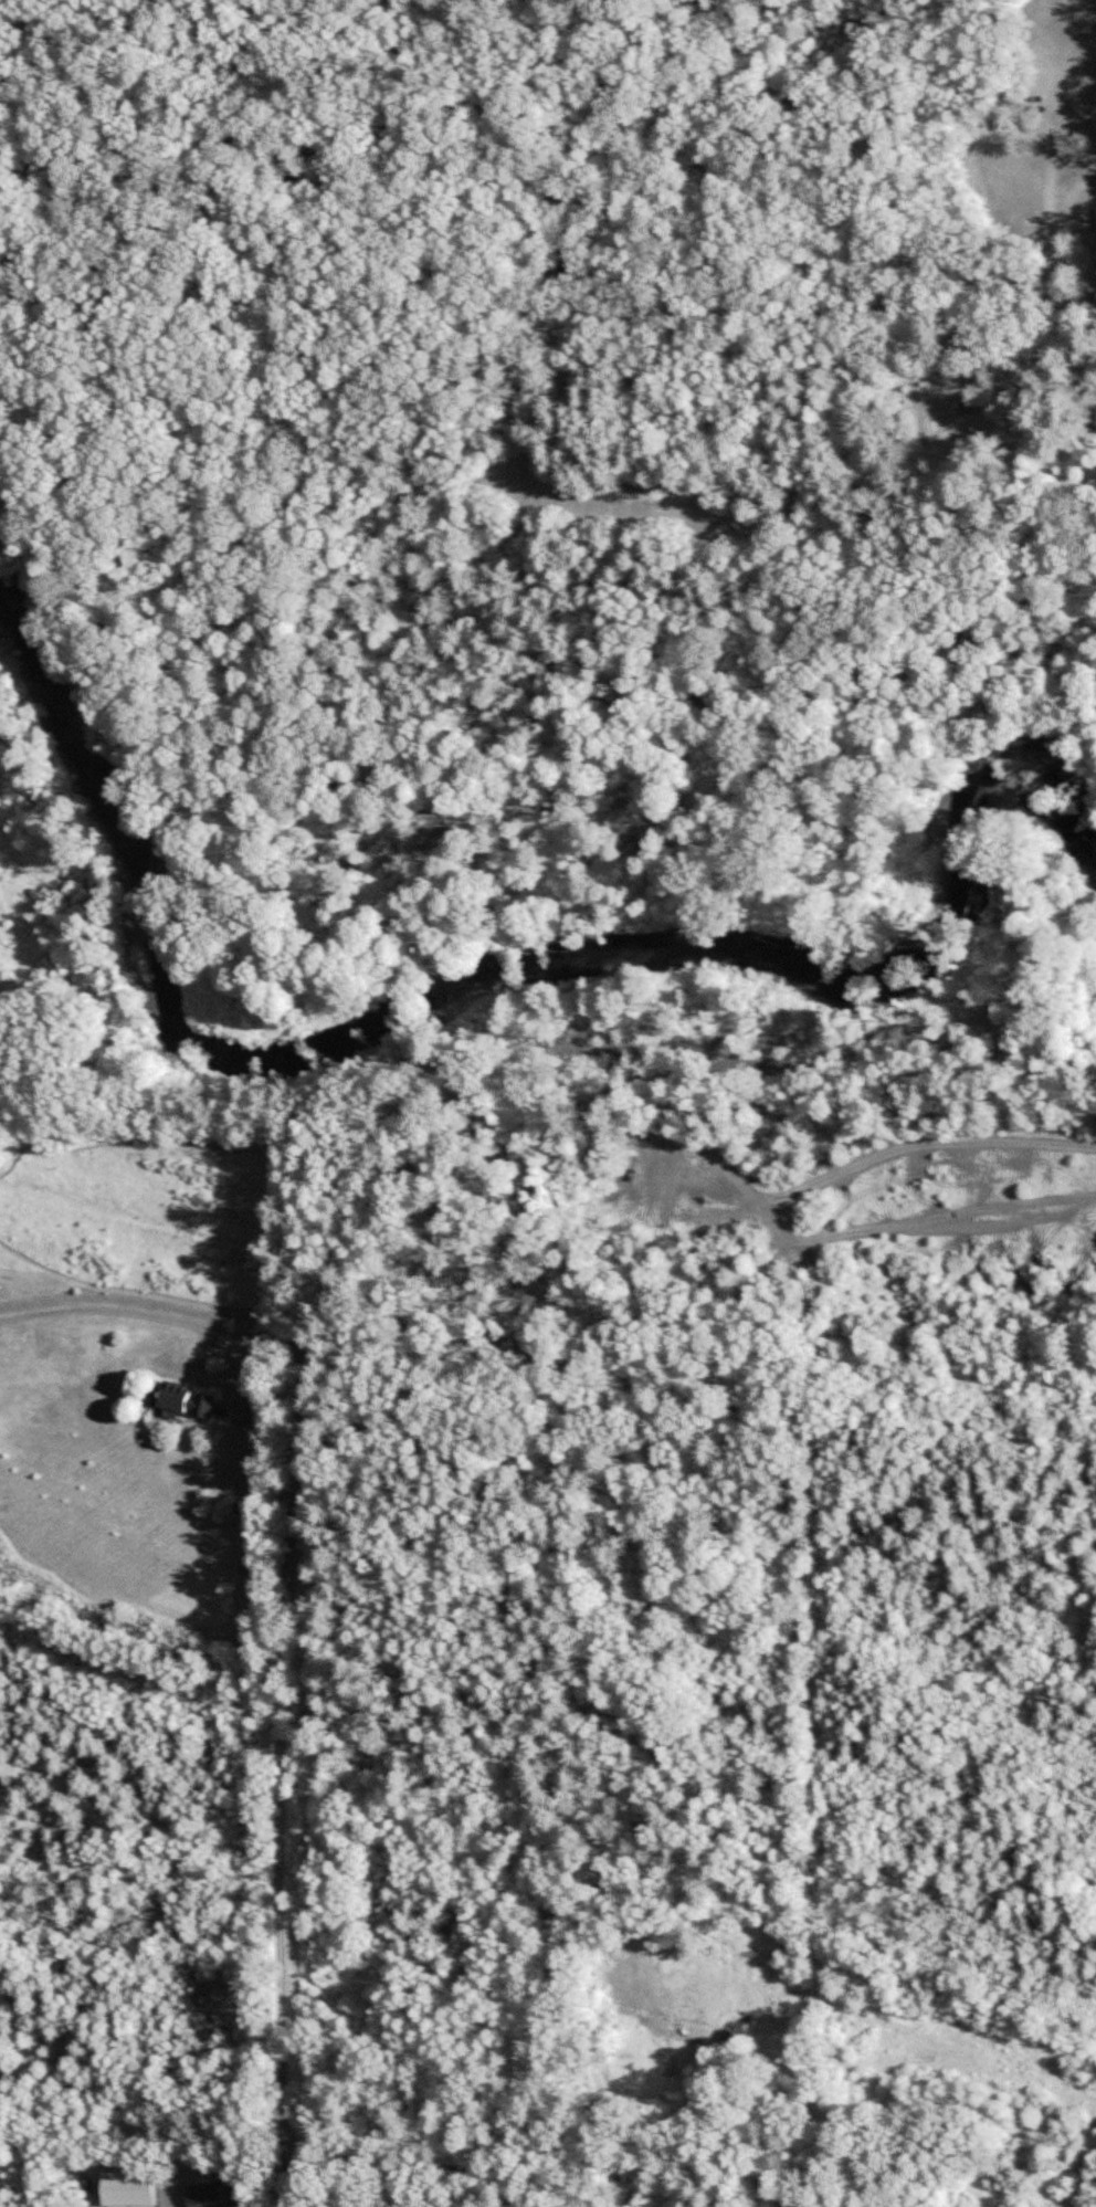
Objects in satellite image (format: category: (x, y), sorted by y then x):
road: (955, 11)
road: (505, 25)
road: (993, 29)
road: (74, 56)
road: (1000, 63)
road: (1088, 125)
parking lot: (1065, 127)
road: (488, 170)
road: (1058, 250)
road: (512, 311)
road: (1061, 319)
road: (660, 866)
river: (465, 986)
road: (149, 1316)
building: (180, 1399)
road: (281, 1774)
road: (305, 2200)
building: (370, 2203)

